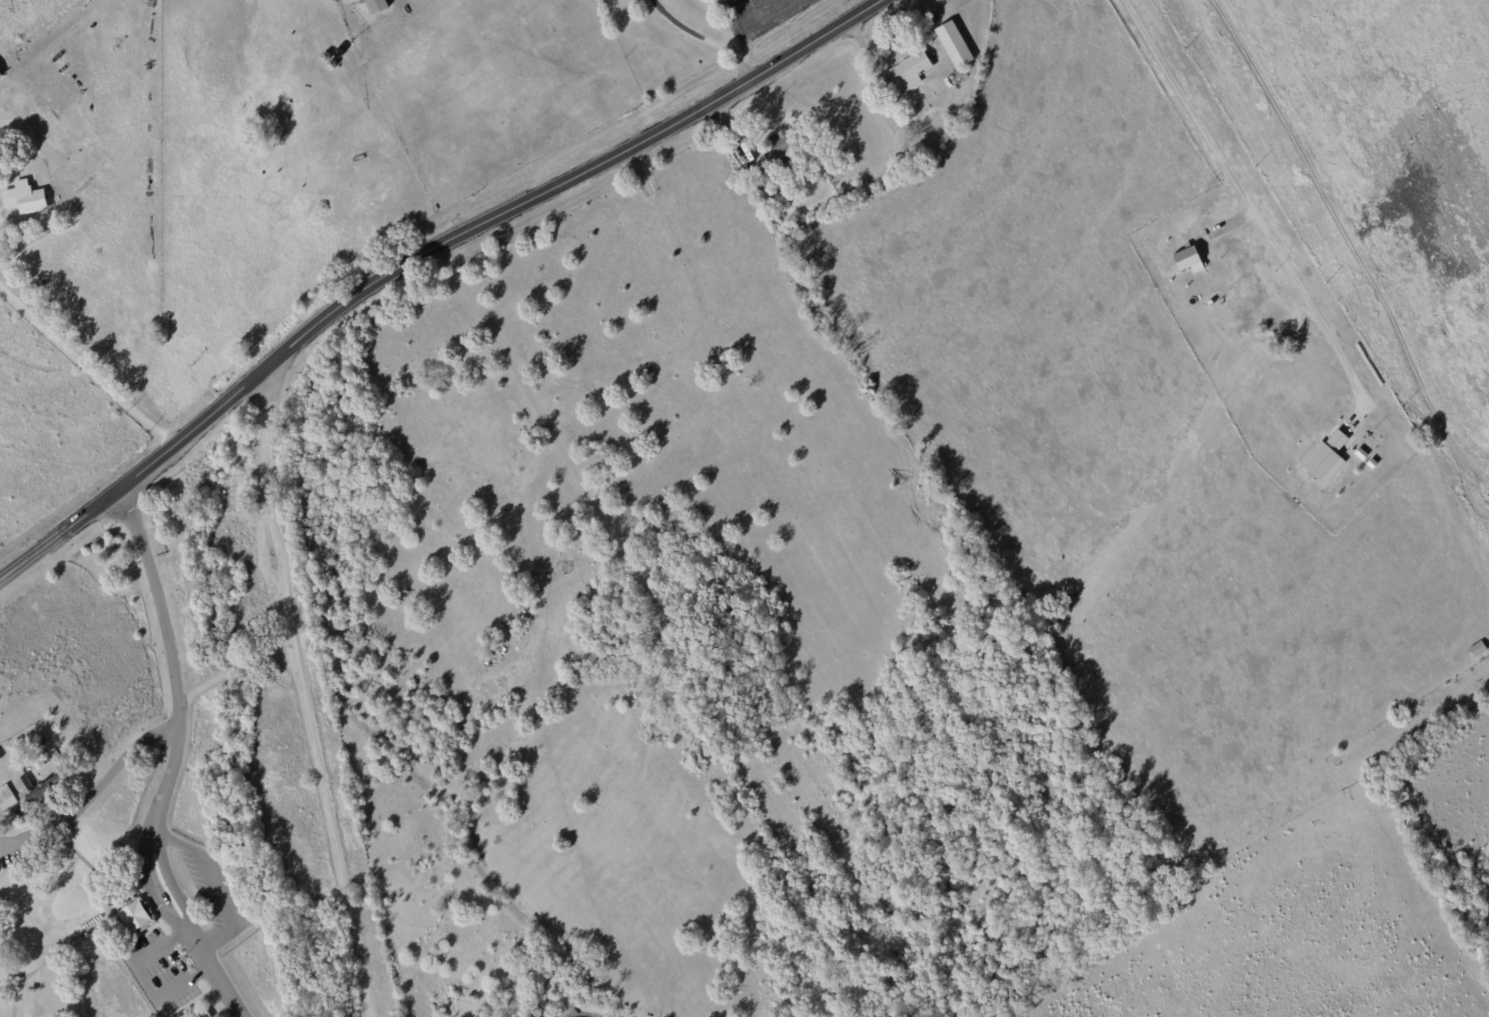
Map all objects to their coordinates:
building: (374, 5)
road: (712, 35)
building: (952, 43)
building: (909, 69)
building: (2, 72)
road: (893, 105)
building: (789, 157)
road: (1252, 196)
building: (28, 197)
road: (421, 255)
building: (1184, 259)
road: (88, 359)
building: (1358, 453)
building: (1323, 457)
building: (1476, 648)
road: (308, 683)
road: (86, 756)
park: (239, 757)
road: (173, 761)
building: (43, 790)
building: (9, 796)
road: (211, 884)
building: (139, 916)
building: (182, 1015)

